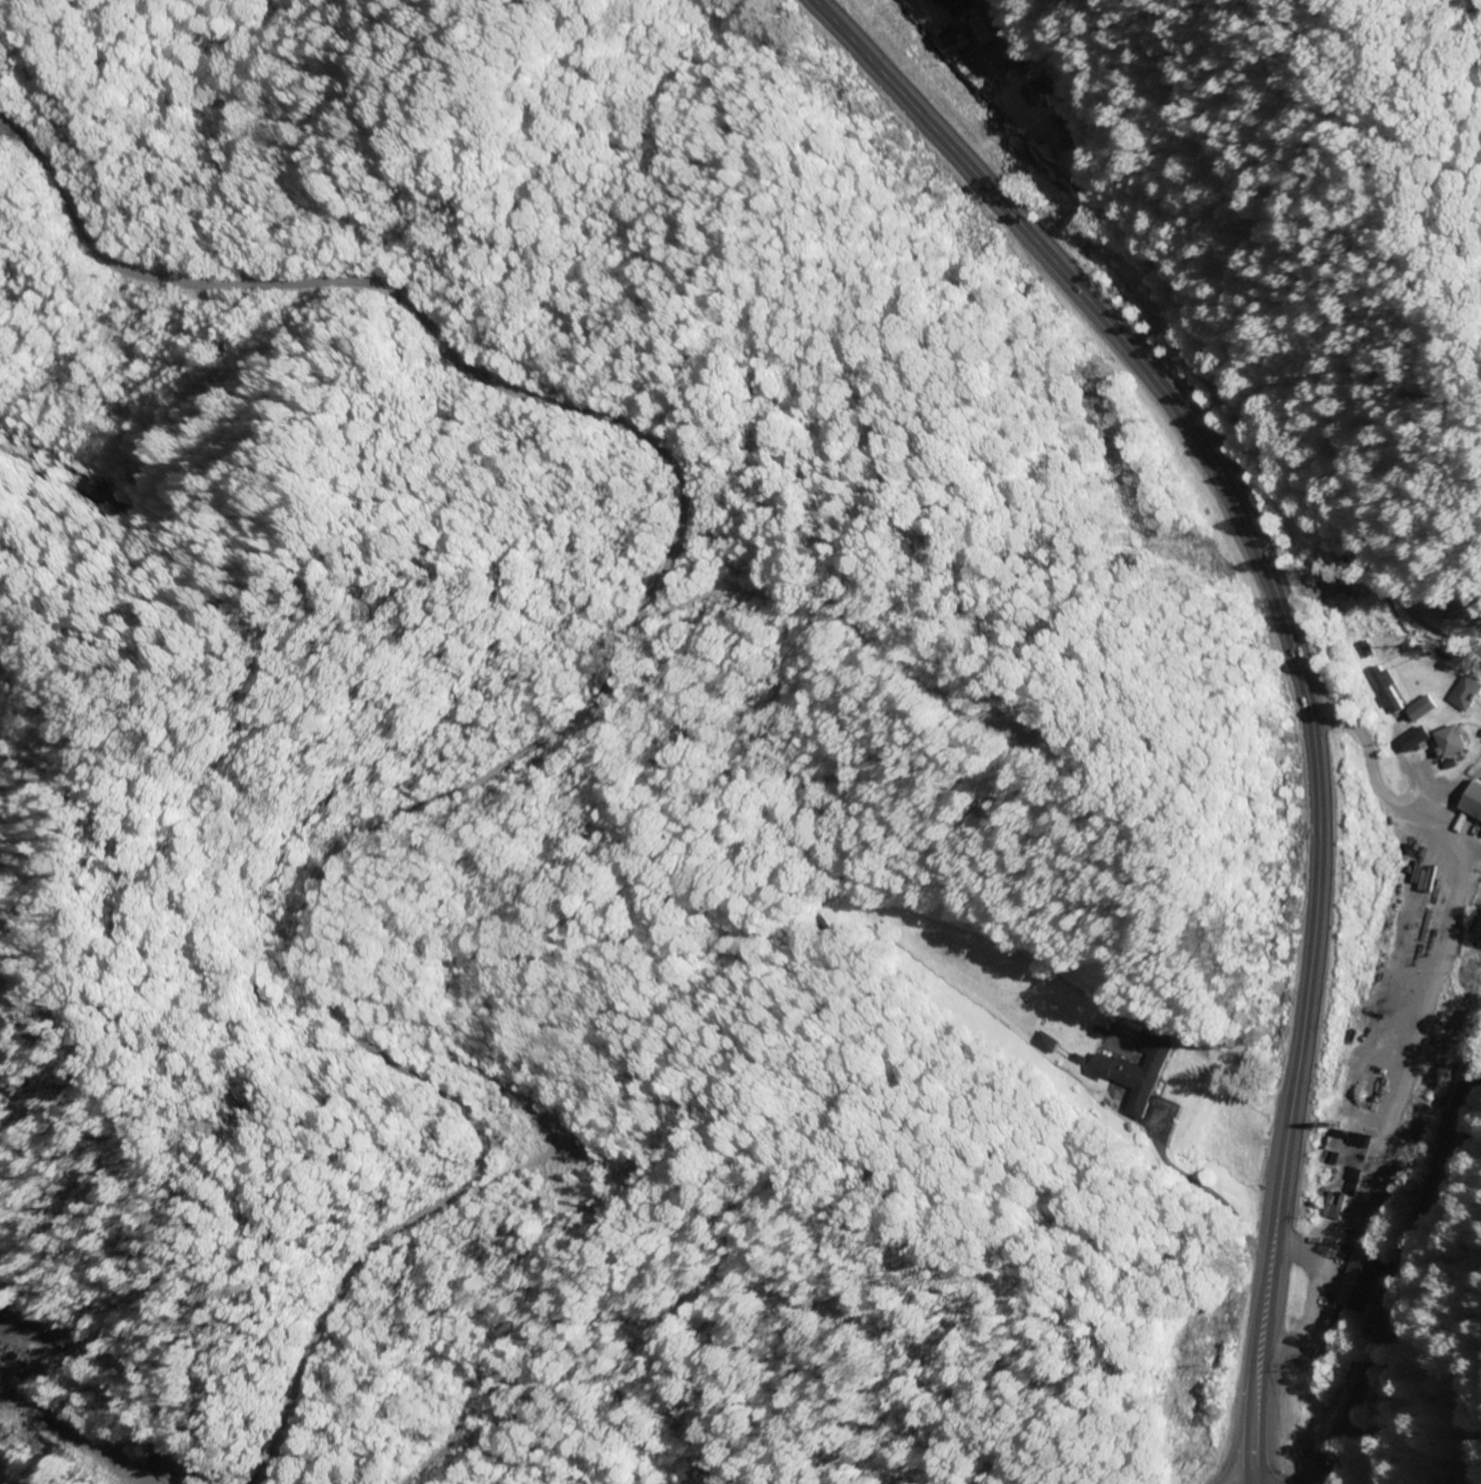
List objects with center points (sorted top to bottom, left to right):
building: (953, 7)
road: (983, 12)
building: (1032, 94)
road: (1296, 662)
building: (1465, 693)
building: (1422, 707)
building: (1416, 738)
building: (1452, 741)
road: (1369, 758)
building: (1472, 802)
road: (1401, 1262)

